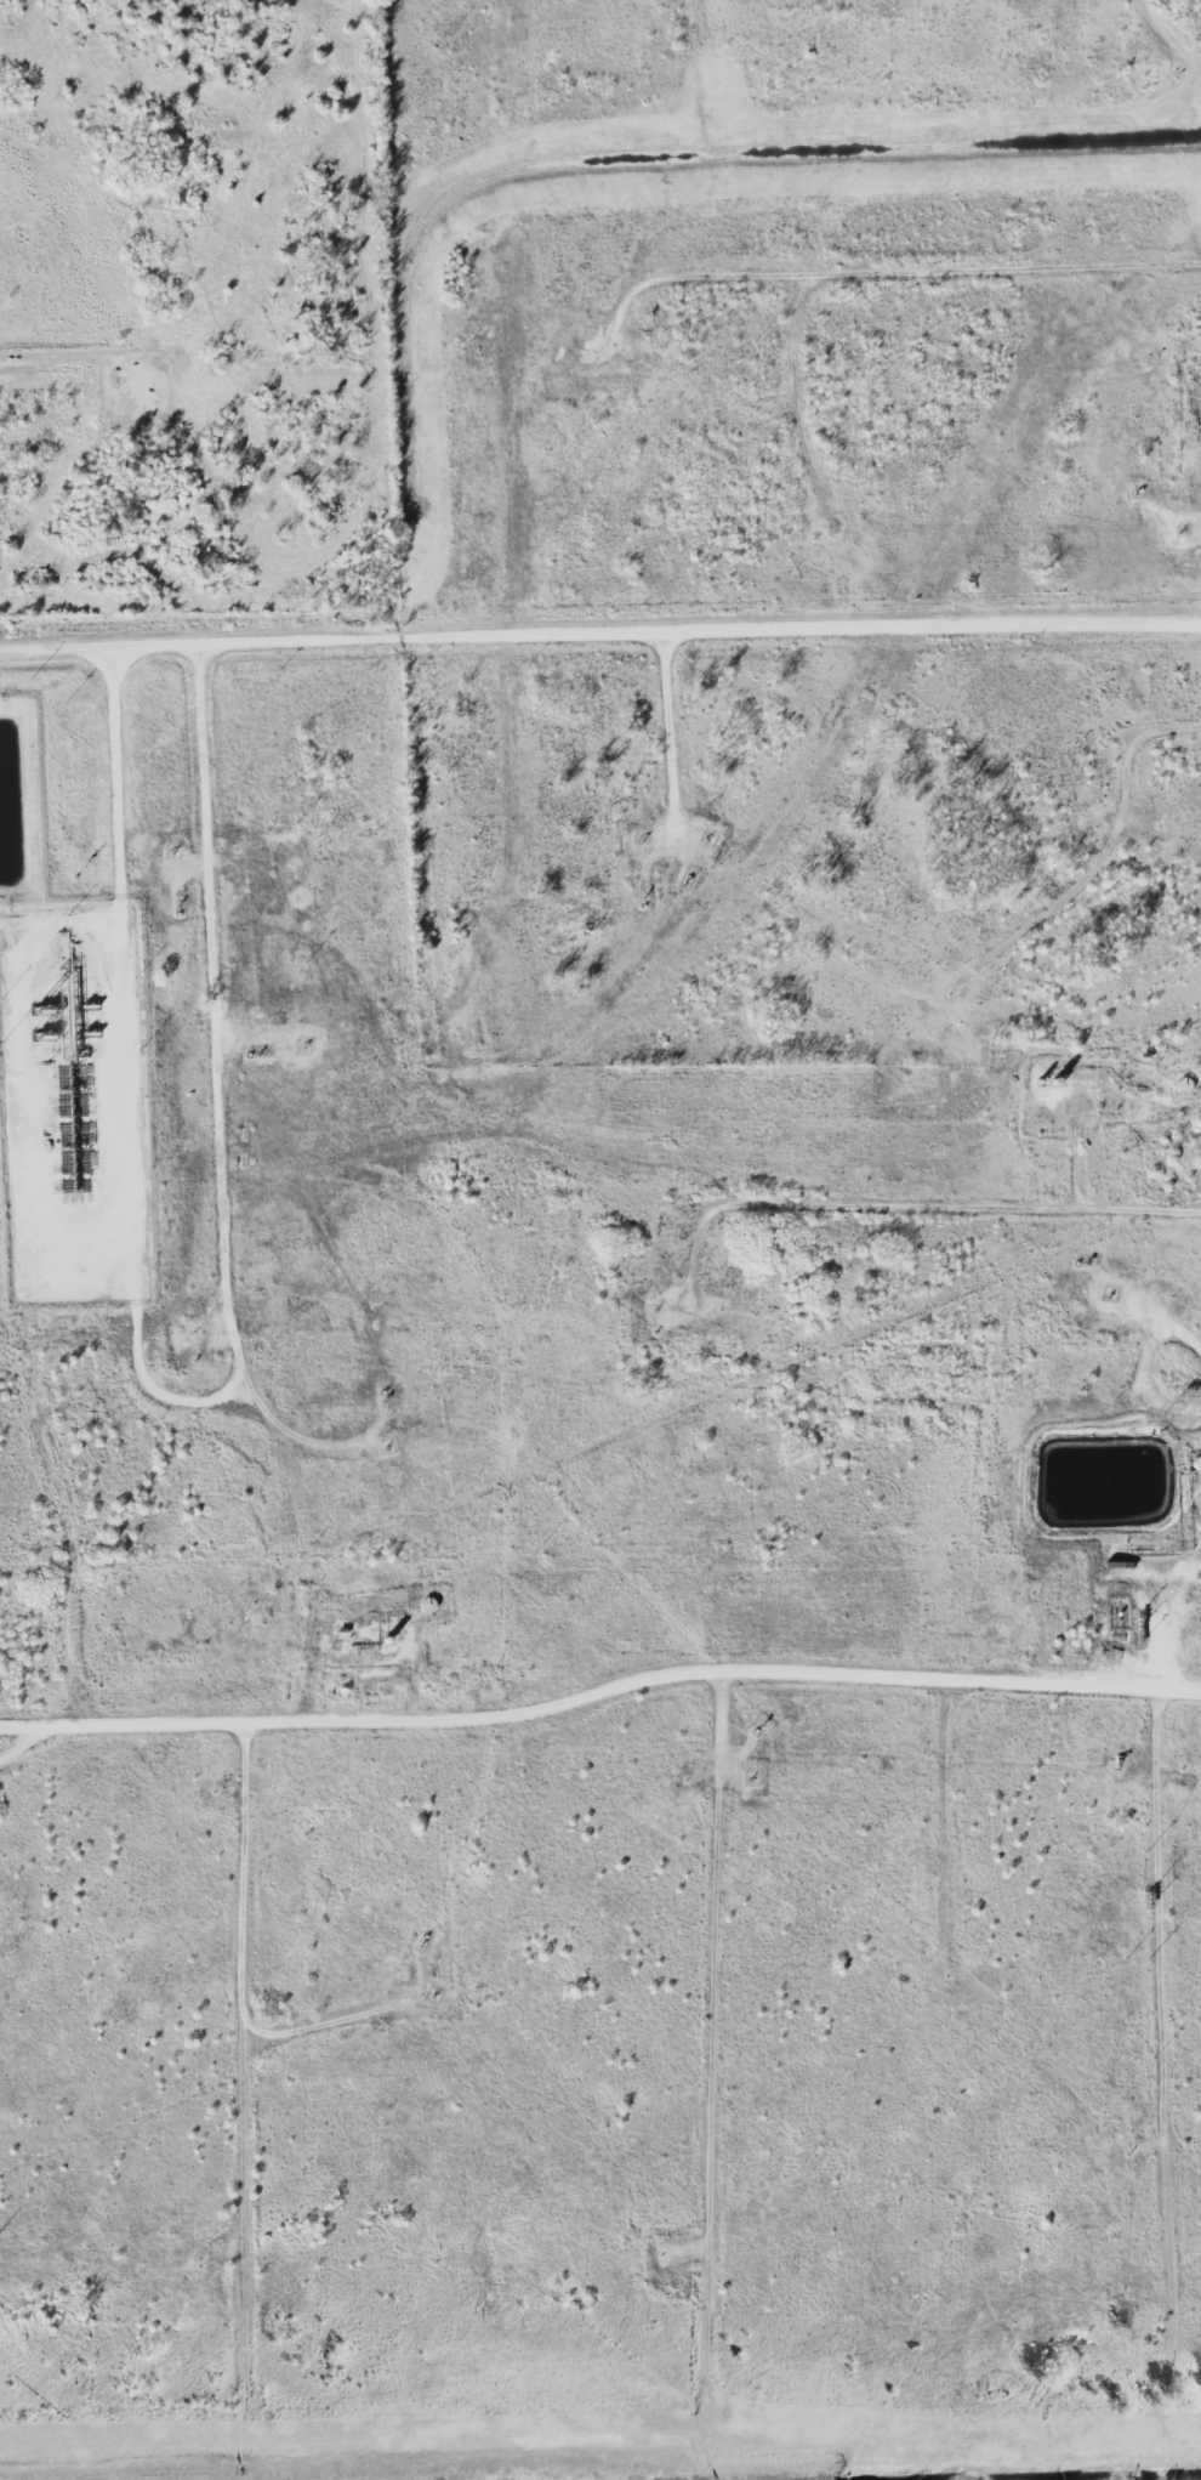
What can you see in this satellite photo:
road: (939, 282)
building: (1200, 456)
road: (599, 632)
road: (667, 737)
road: (1140, 759)
road: (214, 998)
road: (123, 1089)
road: (904, 1218)
petroleum well: (1087, 1295)
road: (600, 1691)
road: (715, 1954)
road: (241, 1970)
road: (1159, 2005)
road: (241, 2150)

